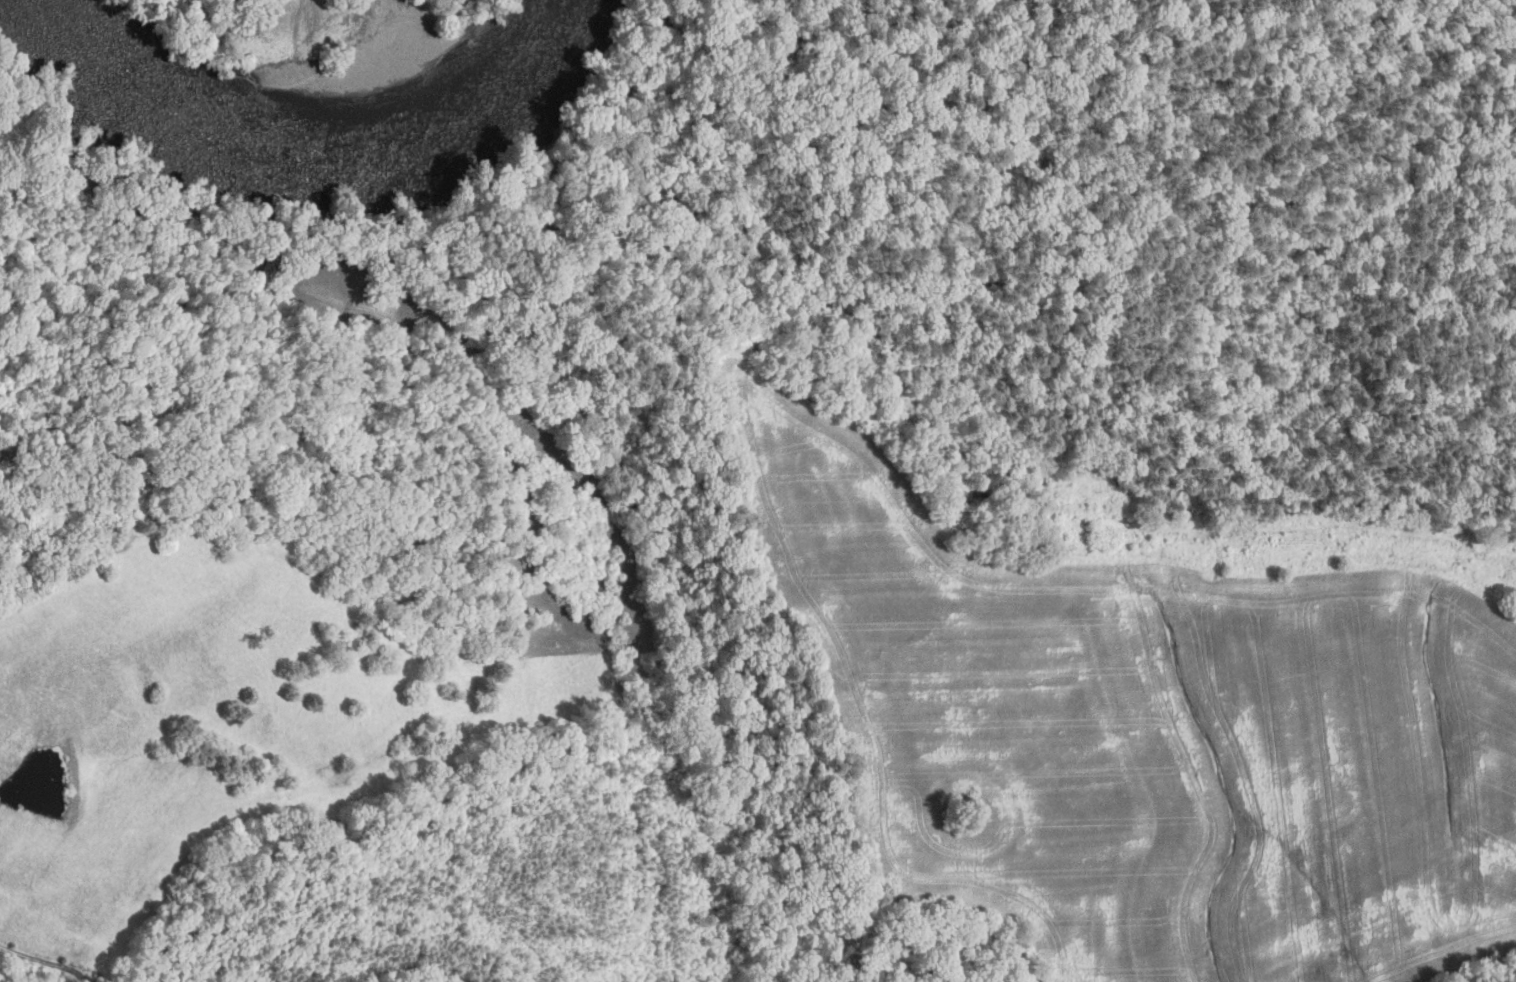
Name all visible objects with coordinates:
river: (307, 151)
building: (20, 544)
road: (44, 961)

